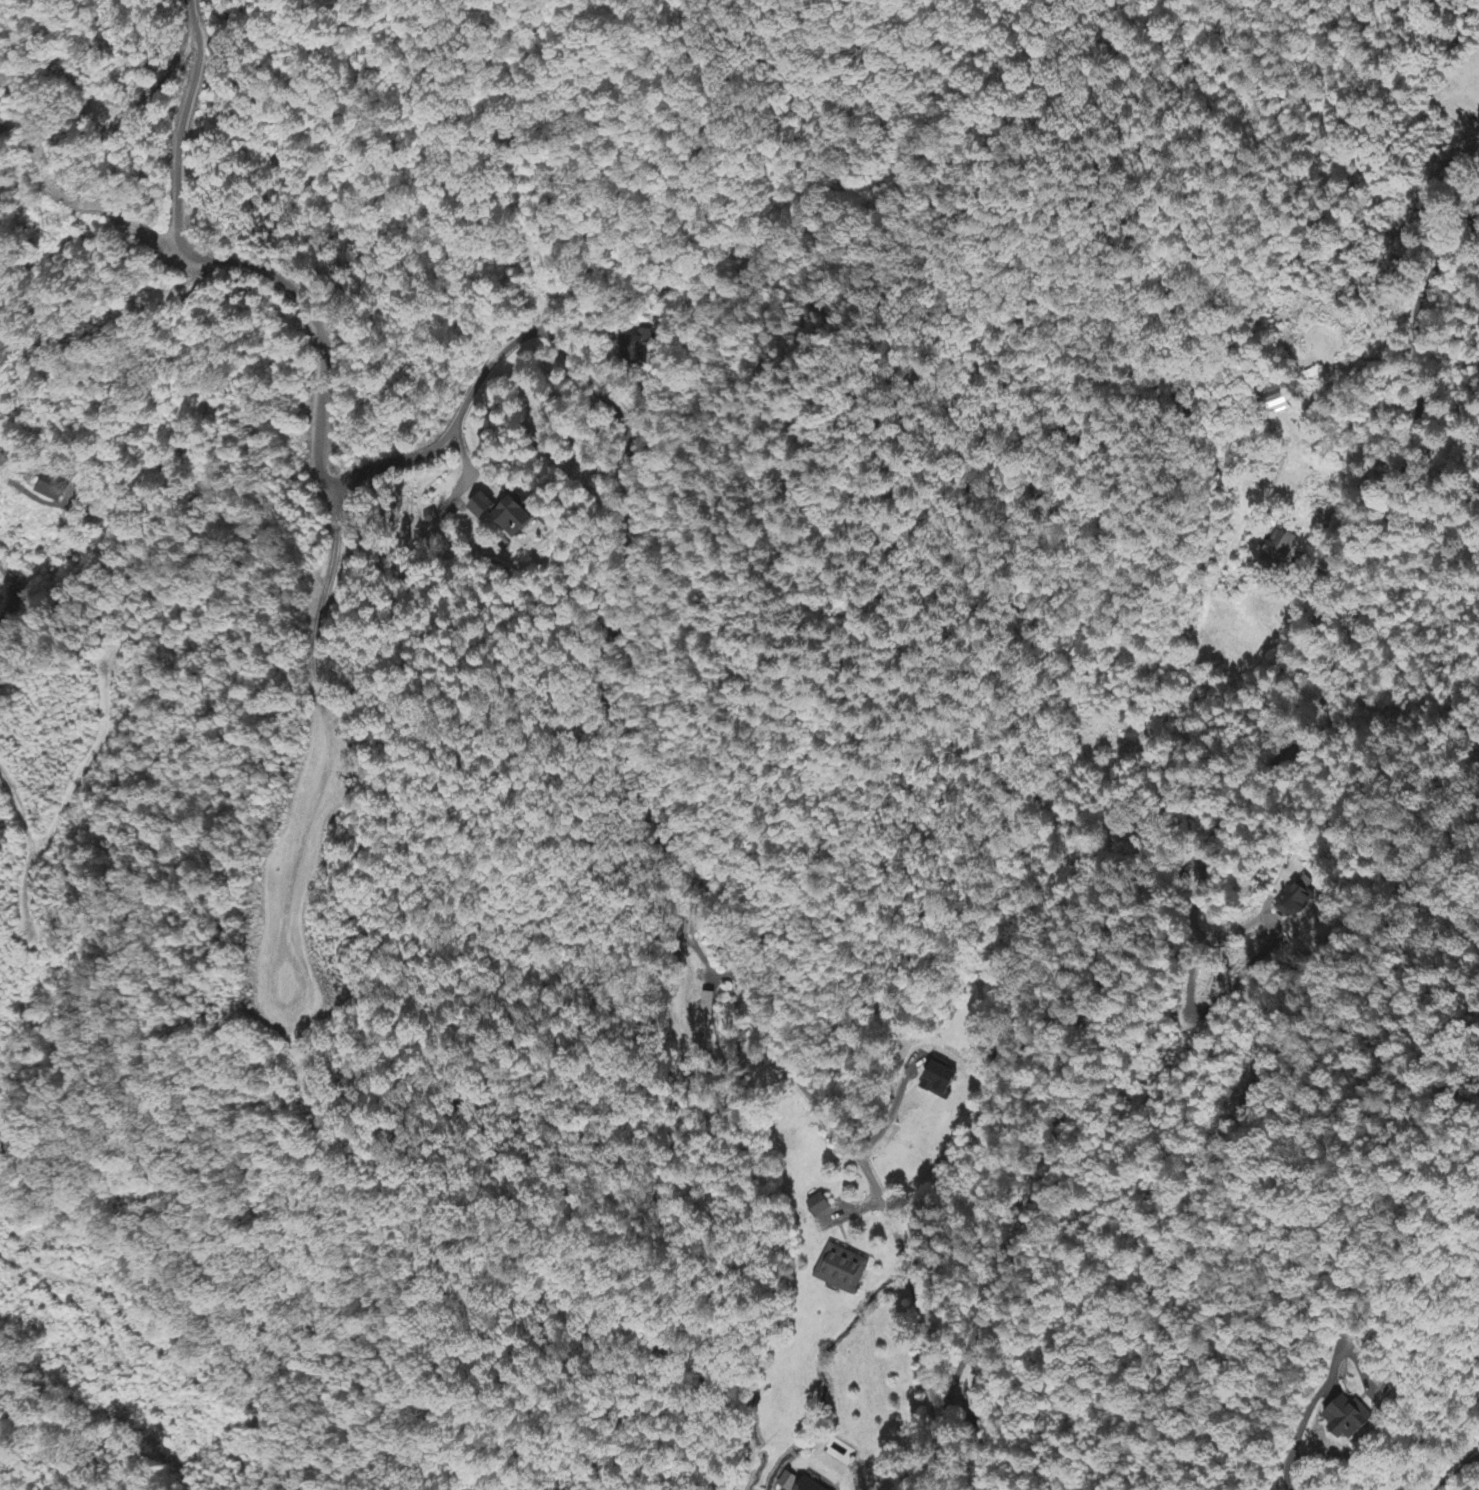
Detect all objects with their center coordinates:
road: (307, 320)
road: (491, 366)
building: (487, 508)
building: (525, 520)
building: (1281, 549)
road: (1221, 798)
building: (1296, 898)
building: (707, 1004)
road: (752, 1009)
building: (0, 1152)
building: (817, 1206)
building: (844, 1270)
building: (1352, 1418)
road: (961, 1423)
building: (789, 1482)
building: (809, 1485)

